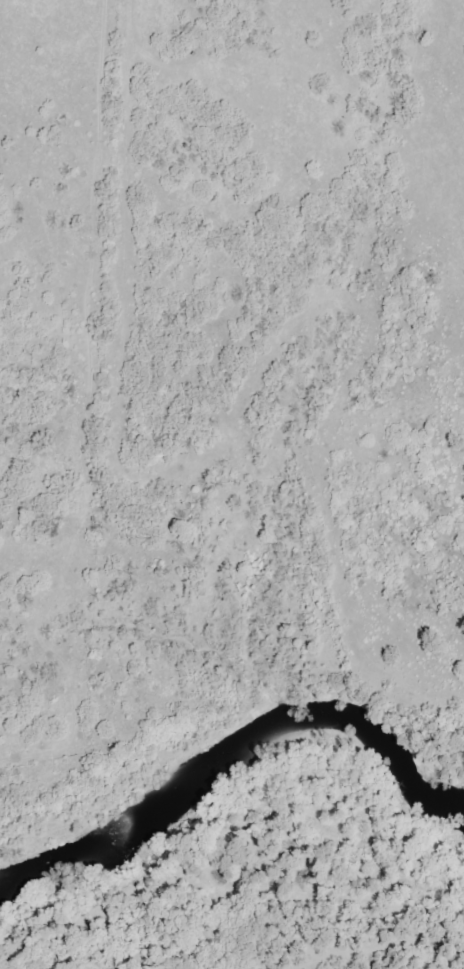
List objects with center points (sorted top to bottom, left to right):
river: (234, 746)

